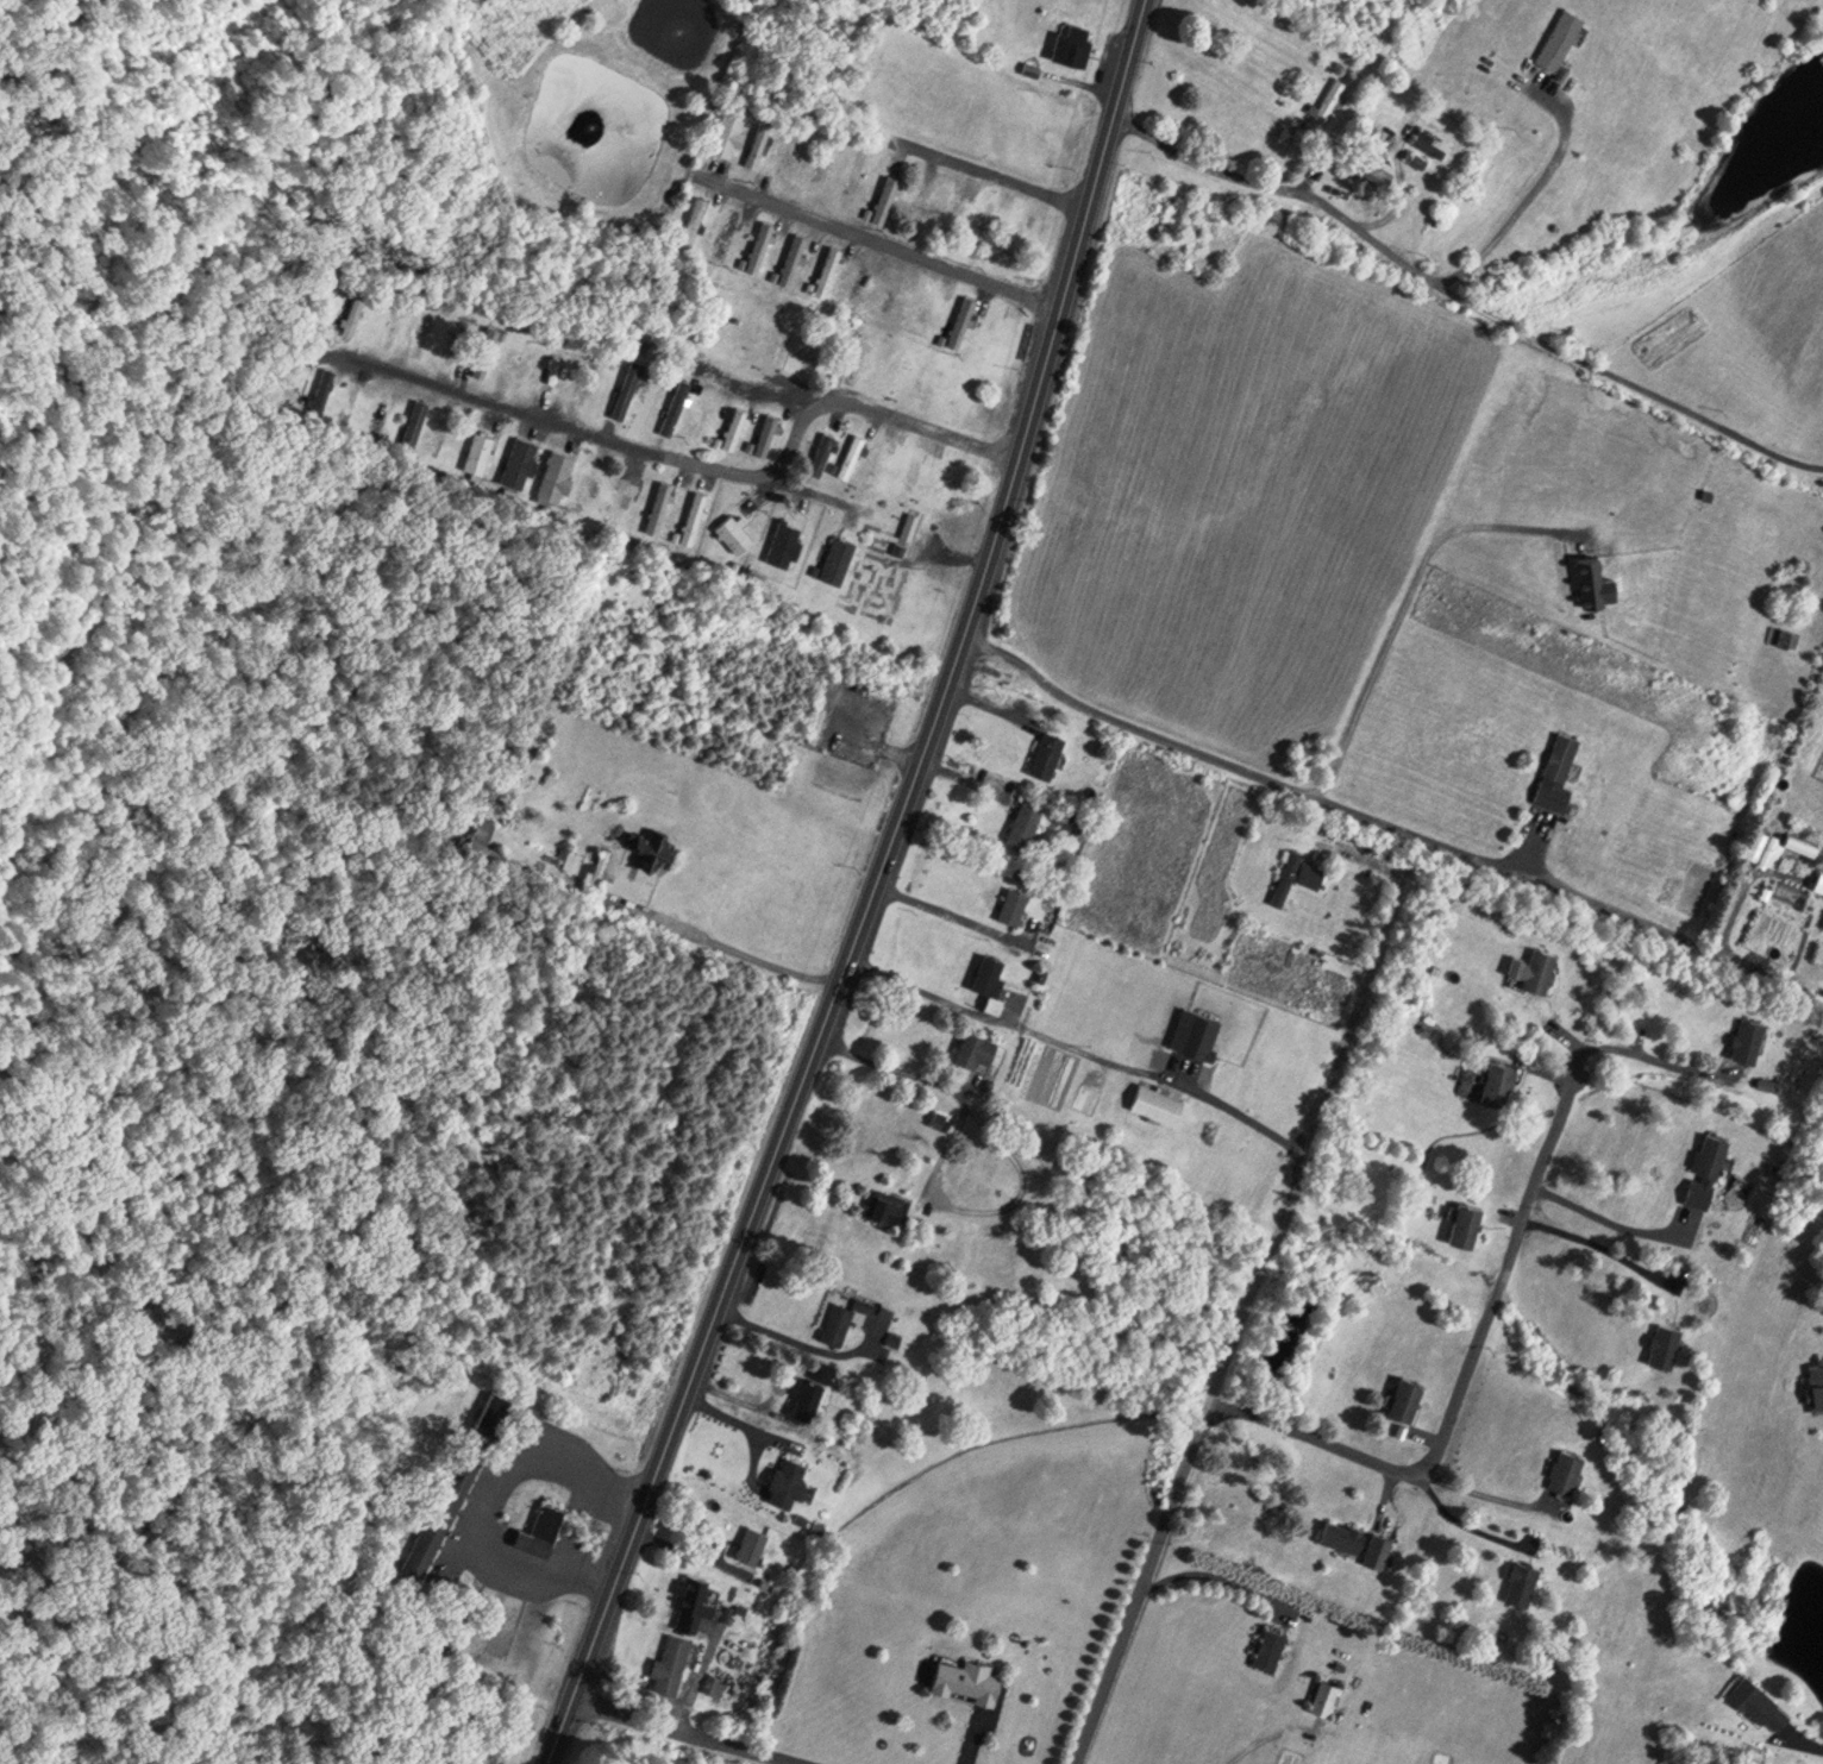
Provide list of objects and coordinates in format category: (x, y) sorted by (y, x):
building: (1044, 4)
building: (1561, 36)
building: (1073, 39)
building: (1032, 64)
building: (851, 95)
building: (1326, 101)
building: (728, 130)
building: (1429, 138)
building: (759, 140)
building: (1380, 161)
road: (1314, 165)
road: (995, 172)
building: (887, 194)
road: (1527, 197)
building: (869, 207)
road: (1384, 209)
building: (694, 218)
building: (728, 230)
road: (881, 239)
building: (760, 241)
building: (709, 246)
building: (794, 253)
building: (744, 258)
building: (829, 266)
building: (775, 271)
building: (810, 282)
road: (1462, 299)
building: (355, 307)
building: (963, 316)
building: (942, 334)
building: (817, 339)
building: (484, 345)
building: (859, 353)
building: (552, 371)
building: (320, 383)
building: (627, 385)
road: (758, 394)
building: (676, 402)
building: (704, 416)
building: (411, 419)
building: (737, 423)
building: (766, 429)
building: (719, 437)
building: (750, 441)
building: (823, 447)
building: (478, 448)
building: (851, 451)
building: (520, 456)
building: (878, 460)
building: (834, 462)
building: (556, 471)
road: (690, 472)
building: (881, 484)
building: (660, 501)
building: (695, 511)
building: (910, 520)
building: (734, 527)
building: (785, 539)
building: (900, 544)
building: (839, 554)
road: (956, 561)
building: (815, 565)
building: (1592, 578)
road: (1405, 598)
building: (1787, 635)
building: (835, 672)
building: (860, 683)
building: (881, 689)
road: (986, 701)
building: (817, 720)
building: (1047, 751)
road: (904, 754)
building: (1559, 770)
road: (963, 773)
road: (1335, 797)
building: (1025, 820)
building: (482, 822)
building: (1082, 829)
building: (1371, 840)
building: (651, 841)
building: (1764, 842)
building: (1802, 842)
building: (584, 860)
building: (1298, 872)
building: (1819, 880)
road: (871, 890)
building: (1014, 902)
road: (942, 906)
road: (663, 915)
building: (1541, 966)
building: (990, 969)
building: (1041, 971)
building: (994, 1000)
building: (1749, 1035)
road: (1572, 1040)
building: (978, 1044)
road: (1077, 1049)
road: (1649, 1052)
road: (1547, 1065)
building: (1501, 1079)
road: (966, 1081)
building: (1088, 1094)
building: (1158, 1099)
building: (940, 1117)
building: (1712, 1150)
road: (1010, 1153)
building: (888, 1203)
road: (1511, 1211)
road: (1609, 1217)
building: (1467, 1219)
building: (913, 1223)
road: (1596, 1241)
building: (865, 1299)
building: (838, 1318)
road: (1239, 1322)
building: (894, 1336)
road: (802, 1339)
building: (1665, 1341)
road: (1465, 1369)
building: (1816, 1383)
building: (812, 1385)
road: (770, 1392)
building: (1408, 1394)
road: (743, 1396)
road: (738, 1417)
road: (1424, 1432)
road: (753, 1456)
building: (1566, 1467)
building: (788, 1477)
road: (1479, 1487)
road: (1383, 1494)
road: (496, 1499)
building: (440, 1502)
parking lot: (463, 1511)
road: (1461, 1519)
building: (817, 1523)
building: (540, 1527)
building: (1343, 1531)
building: (752, 1539)
parking lot: (572, 1543)
road: (683, 1546)
road: (713, 1546)
road: (1216, 1574)
building: (1522, 1580)
building: (694, 1596)
building: (740, 1605)
building: (1270, 1643)
building: (671, 1661)
road: (694, 1675)
building: (967, 1675)
building: (713, 1681)
building: (1324, 1691)
building: (1760, 1700)
road: (690, 1730)
road: (971, 1737)
road: (1806, 1738)

